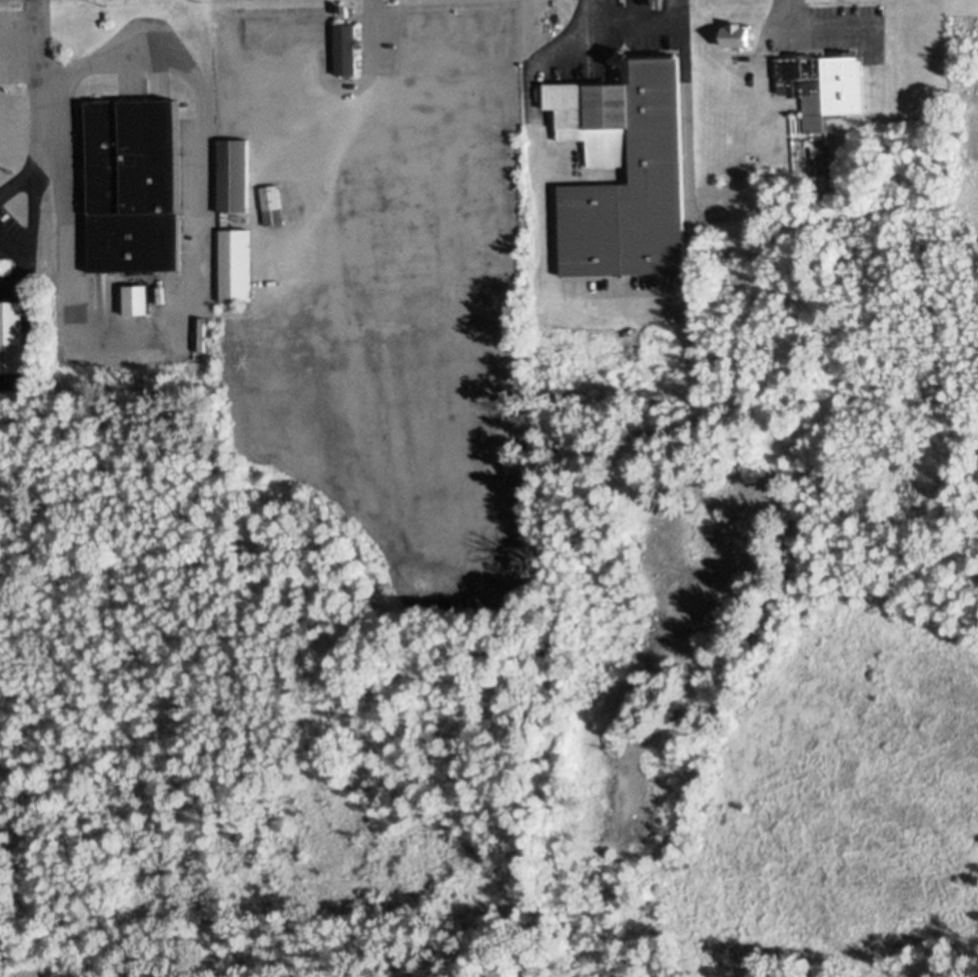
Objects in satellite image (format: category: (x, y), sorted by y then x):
building: (626, 4)
road: (587, 12)
road: (785, 14)
building: (427, 24)
building: (295, 29)
building: (220, 34)
building: (738, 35)
building: (249, 38)
building: (344, 49)
road: (37, 64)
building: (824, 86)
road: (535, 147)
building: (634, 153)
building: (389, 164)
building: (231, 176)
building: (133, 185)
building: (291, 200)
building: (270, 212)
building: (234, 271)
building: (137, 299)
building: (229, 324)
building: (10, 337)

